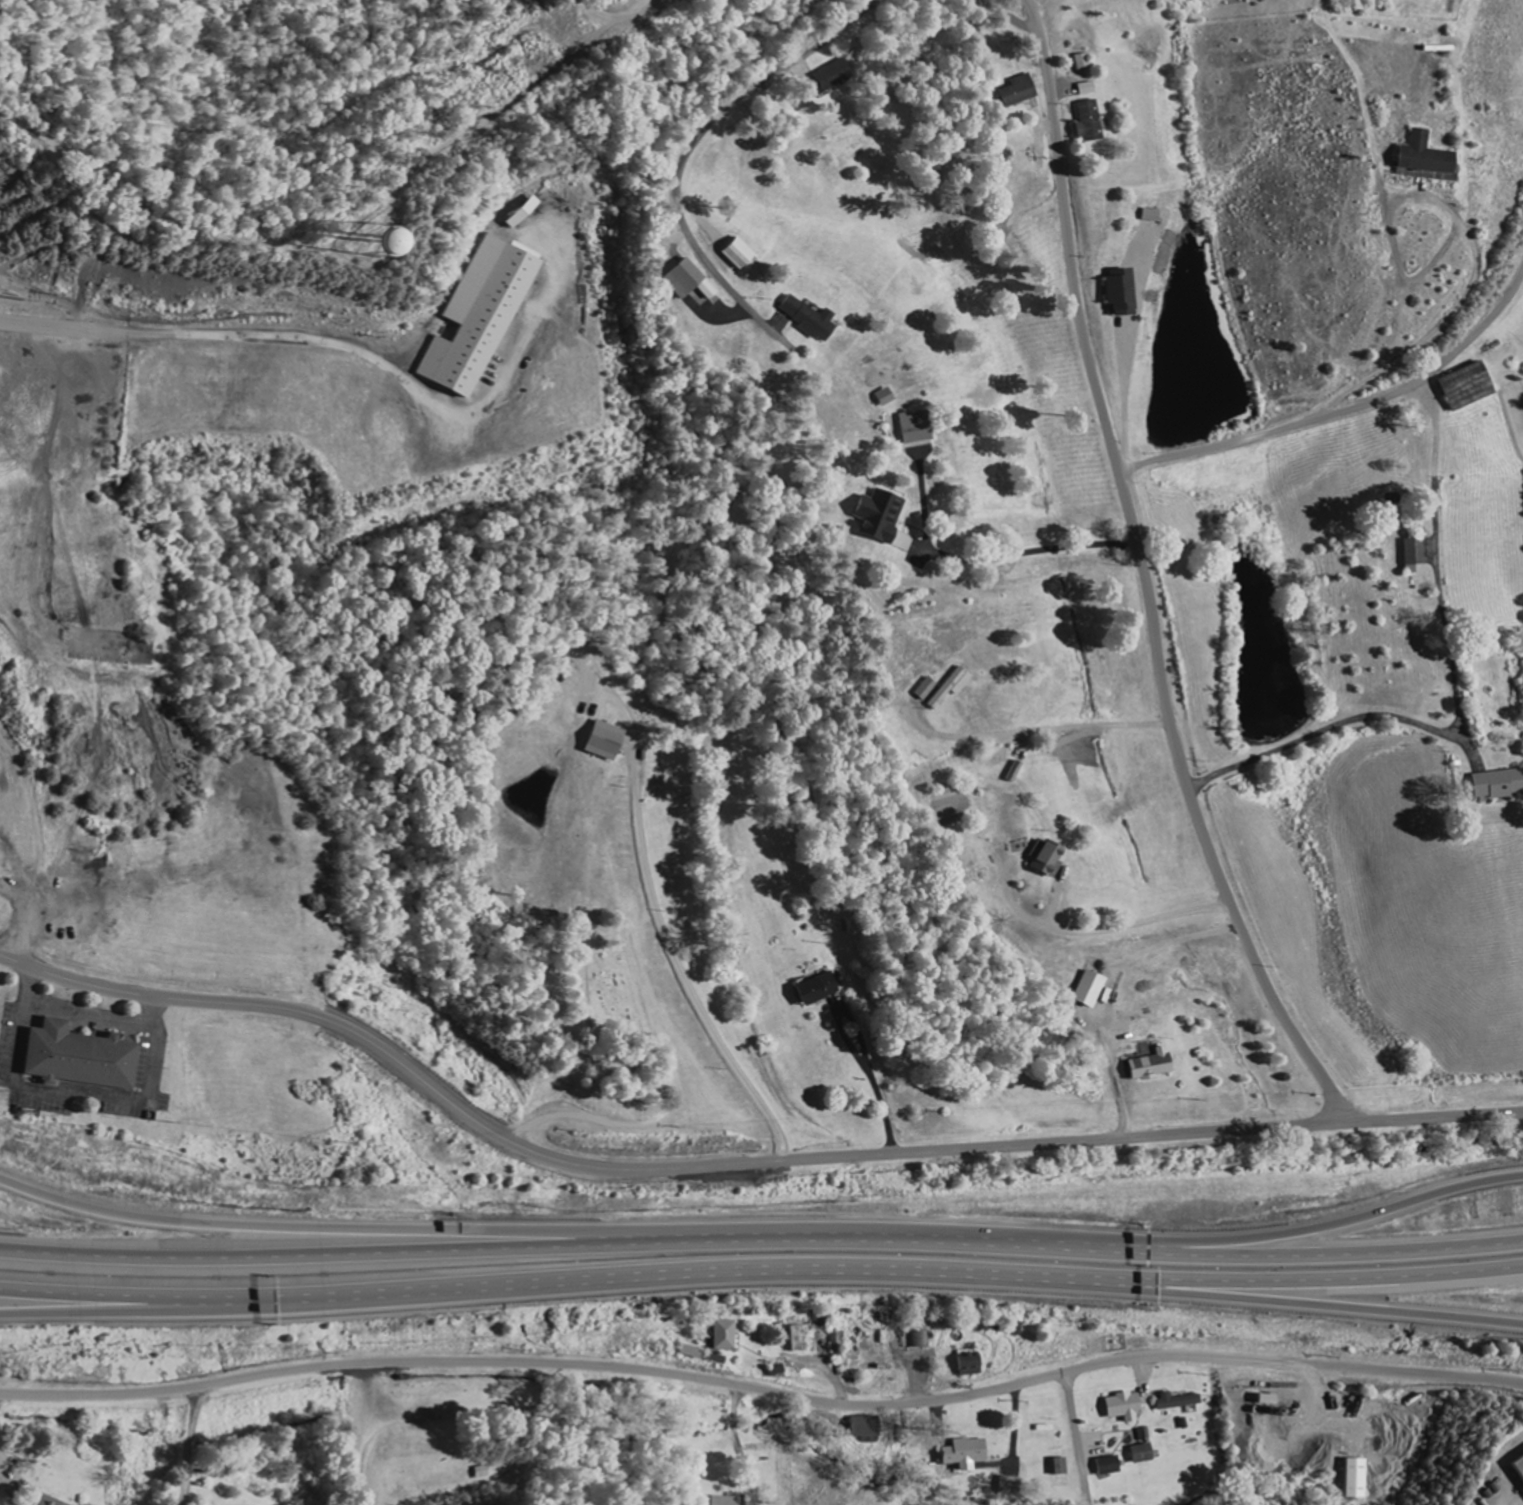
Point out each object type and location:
road: (1006, 17)
building: (1084, 63)
building: (833, 76)
building: (1087, 90)
building: (1021, 92)
road: (520, 97)
building: (1090, 123)
road: (693, 141)
building: (1154, 216)
building: (406, 250)
building: (742, 255)
road: (351, 258)
building: (690, 282)
building: (1125, 293)
building: (479, 318)
building: (809, 319)
road: (323, 339)
building: (1471, 388)
building: (886, 399)
building: (917, 428)
building: (882, 516)
building: (1417, 554)
road: (1144, 573)
building: (956, 687)
building: (608, 741)
building: (1499, 785)
building: (1051, 859)
building: (822, 989)
building: (1093, 989)
building: (83, 1057)
building: (1155, 1065)
road: (668, 1116)
road: (737, 1163)
road: (309, 1227)
road: (1201, 1238)
road: (435, 1242)
road: (1197, 1249)
road: (570, 1278)
road: (1332, 1280)
road: (1331, 1302)
road: (153, 1304)
building: (727, 1336)
building: (921, 1338)
building: (972, 1366)
road: (762, 1391)
building: (1179, 1403)
building: (1127, 1407)
building: (868, 1430)
road: (1077, 1439)
road: (181, 1446)
building: (1146, 1448)
building: (968, 1455)
building: (1112, 1466)
building: (1520, 1466)
building: (1063, 1468)
building: (1357, 1479)
building: (1013, 1487)
building: (47, 1501)
building: (726, 1501)

